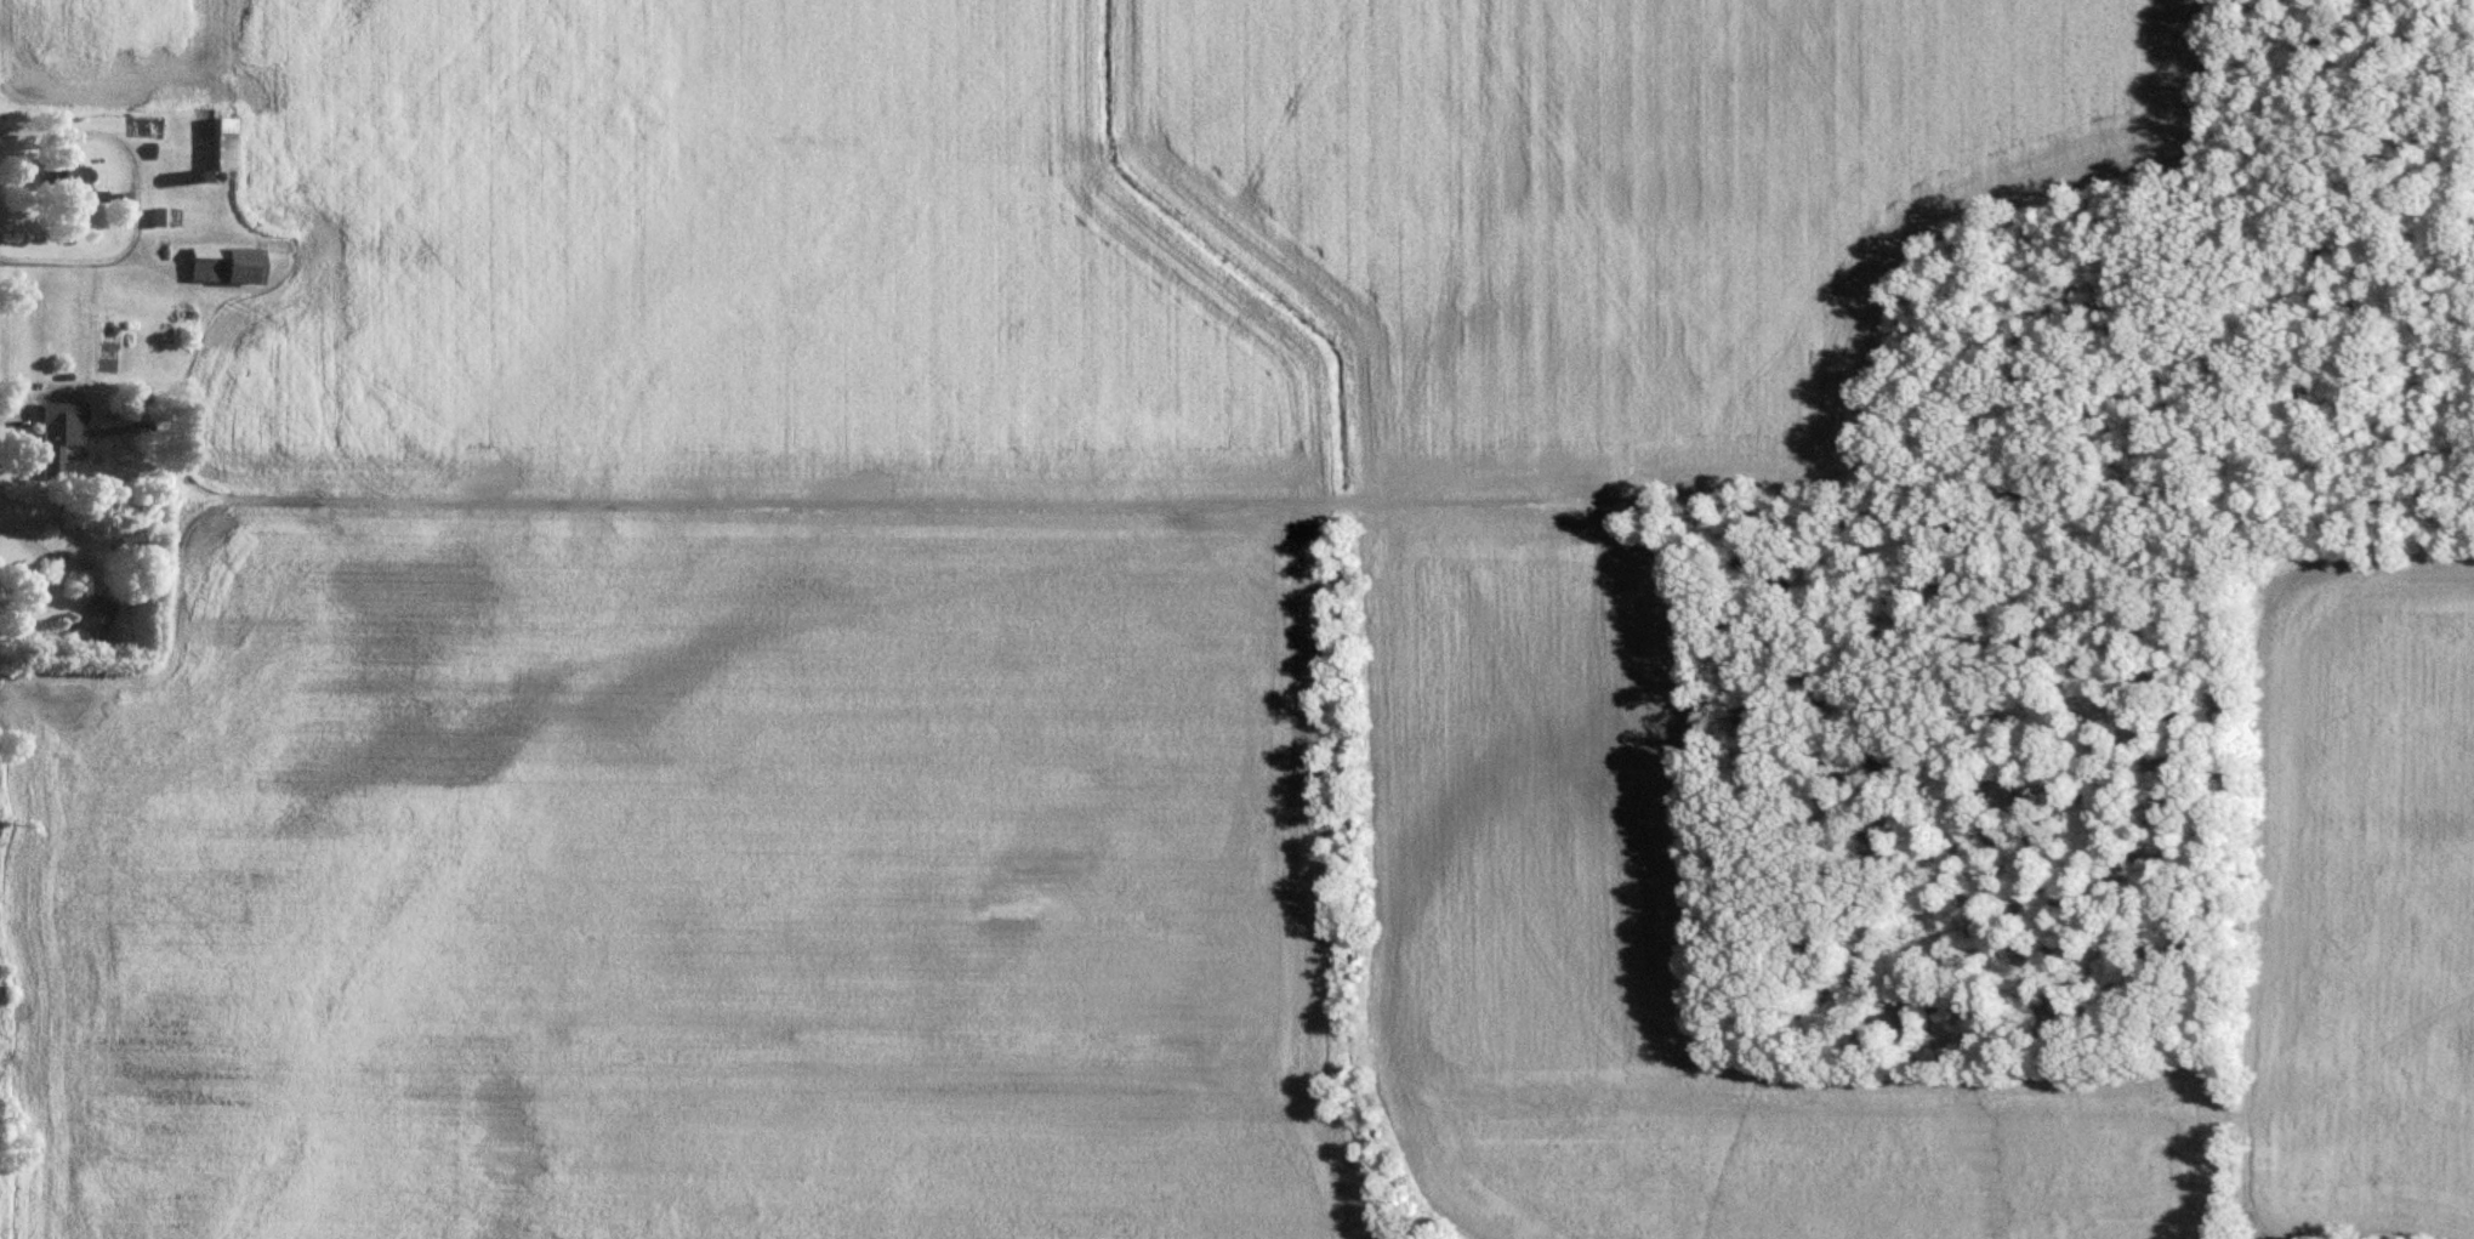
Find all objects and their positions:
building: (216, 142)
building: (61, 172)
road: (131, 198)
building: (228, 261)
building: (56, 432)
road: (45, 549)
building: (90, 619)

